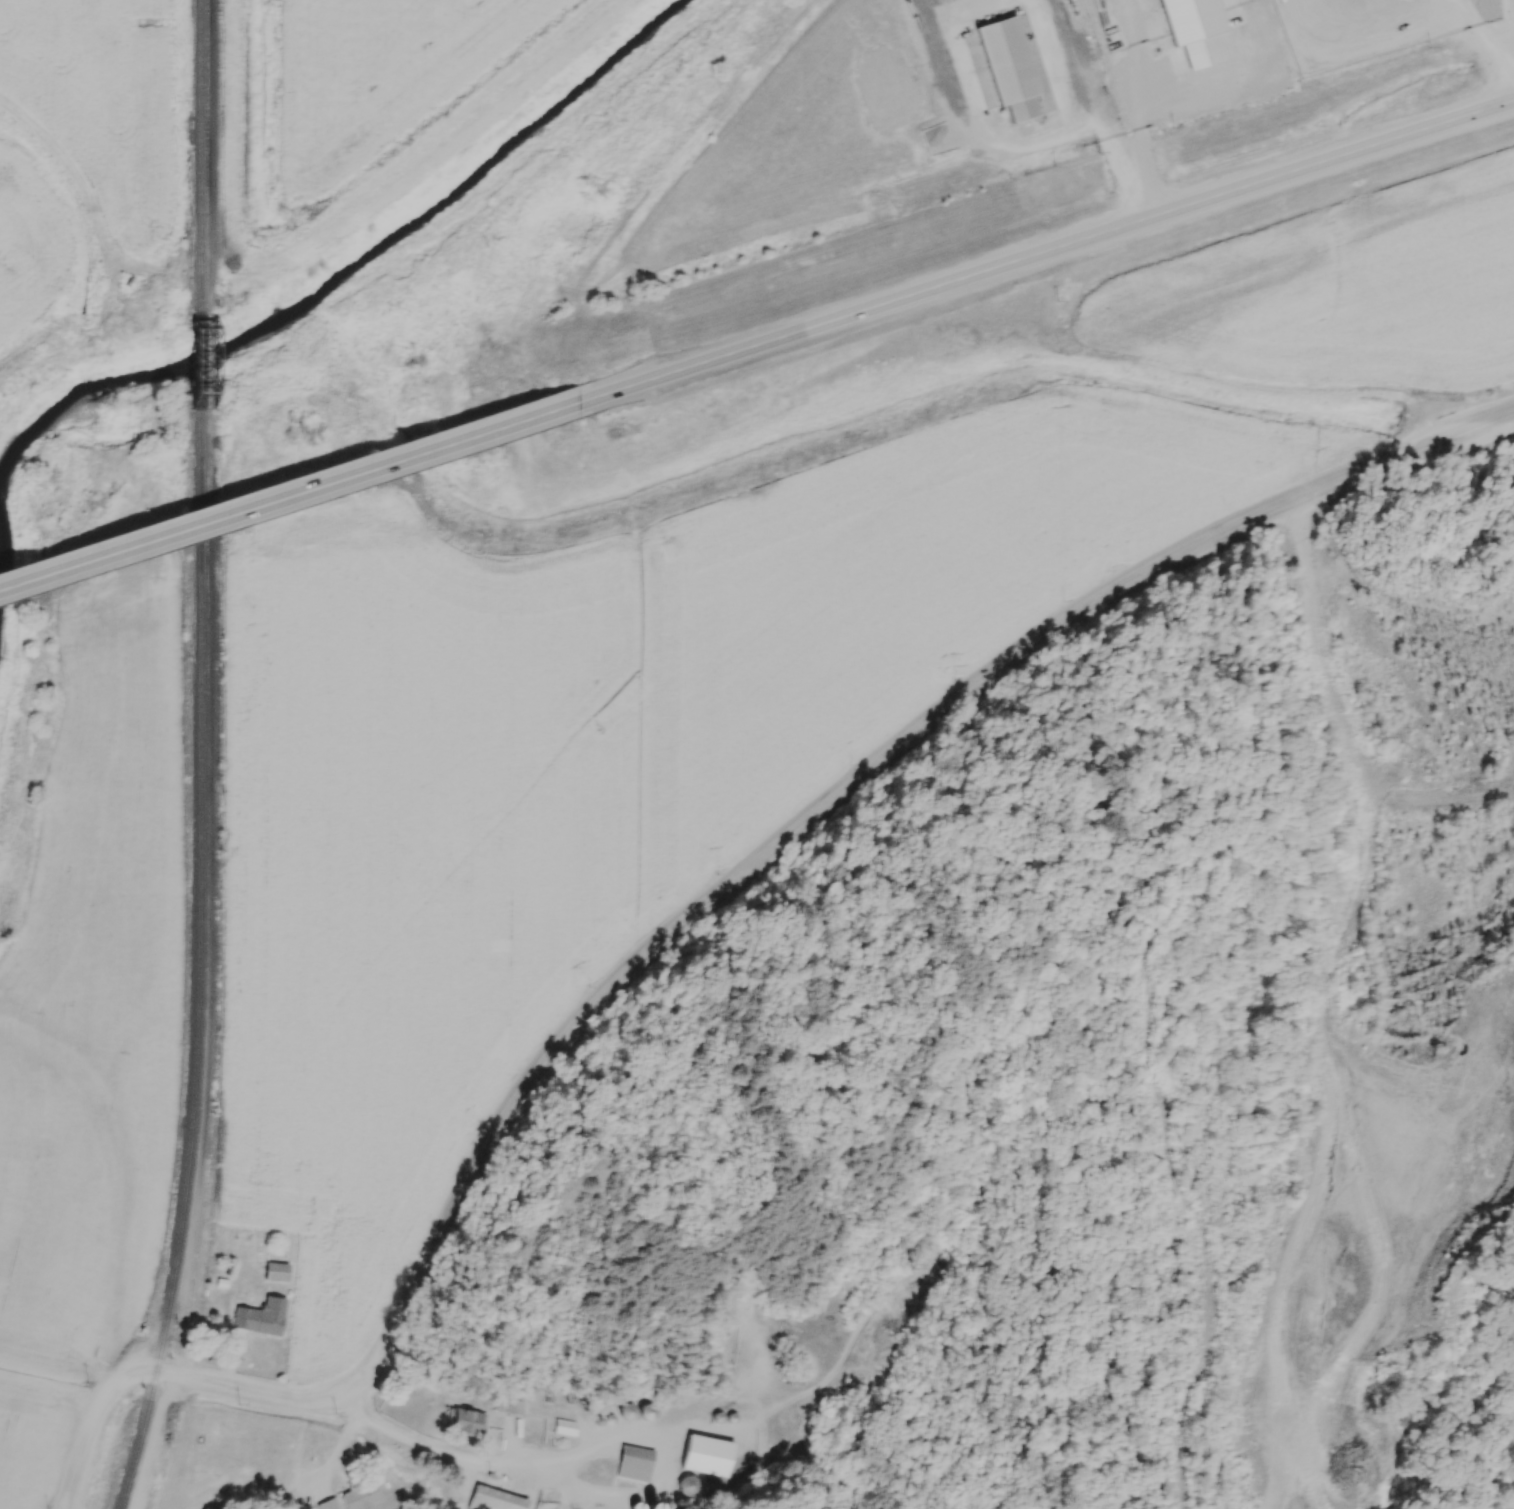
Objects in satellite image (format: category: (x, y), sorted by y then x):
road: (1134, 53)
road: (1053, 63)
road: (1180, 95)
road: (974, 103)
railway: (199, 154)
road: (1116, 157)
road: (1042, 249)
river: (325, 294)
railway: (199, 353)
road: (285, 495)
road: (694, 917)
railway: (193, 957)
building: (275, 1274)
building: (260, 1320)
building: (515, 1410)
building: (464, 1423)
building: (564, 1429)
road: (444, 1453)
building: (706, 1461)
building: (633, 1465)
building: (688, 1487)
building: (359, 1496)
building: (493, 1500)
building: (329, 1504)

